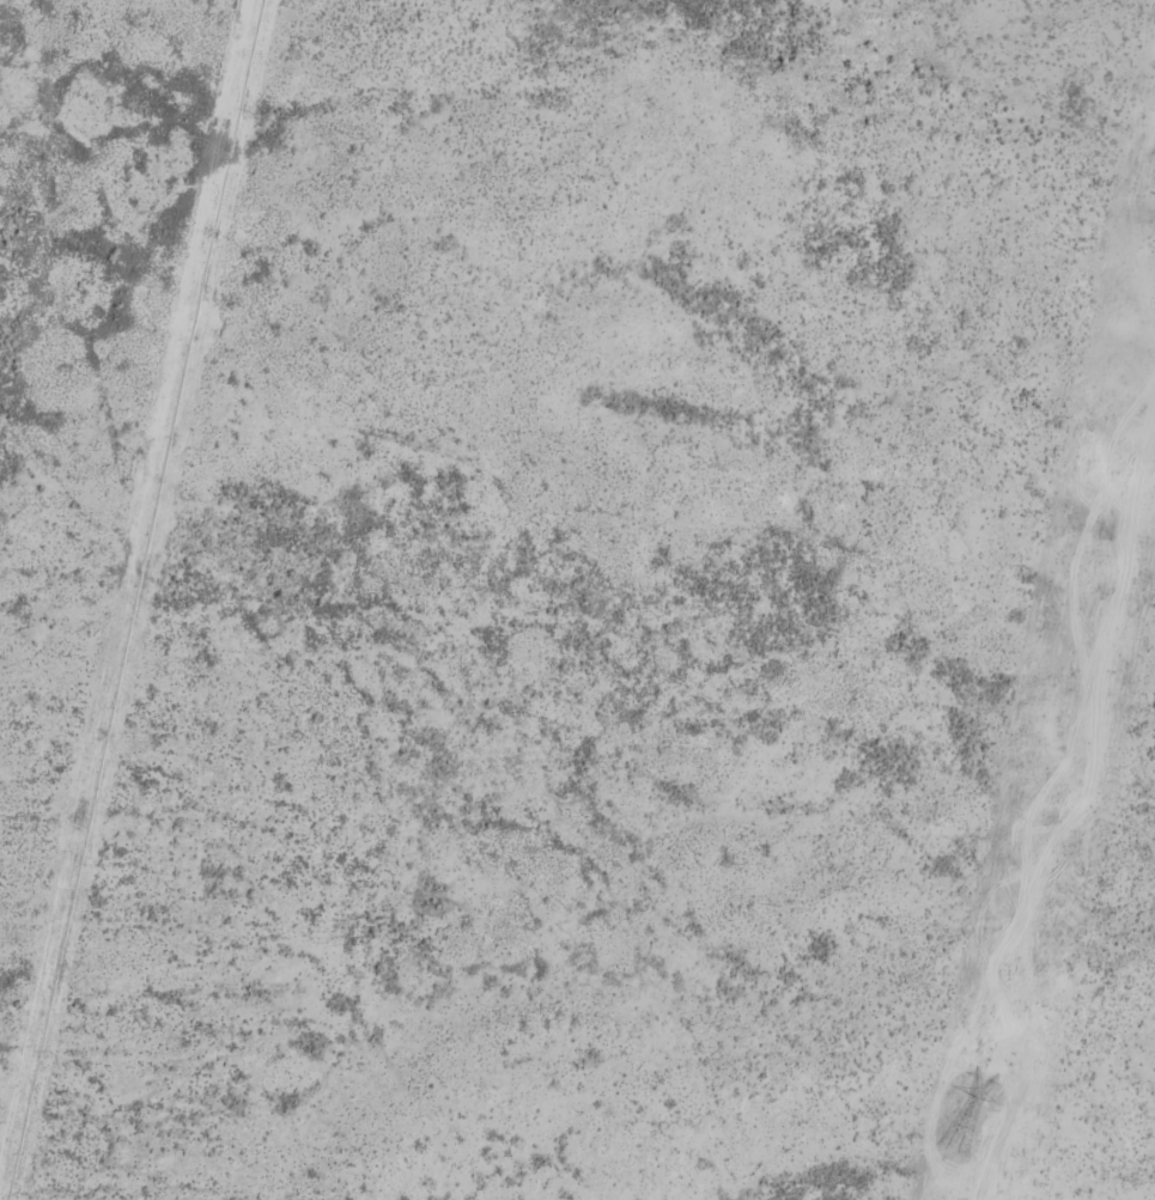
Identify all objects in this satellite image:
power tower: (1008, 1067)

